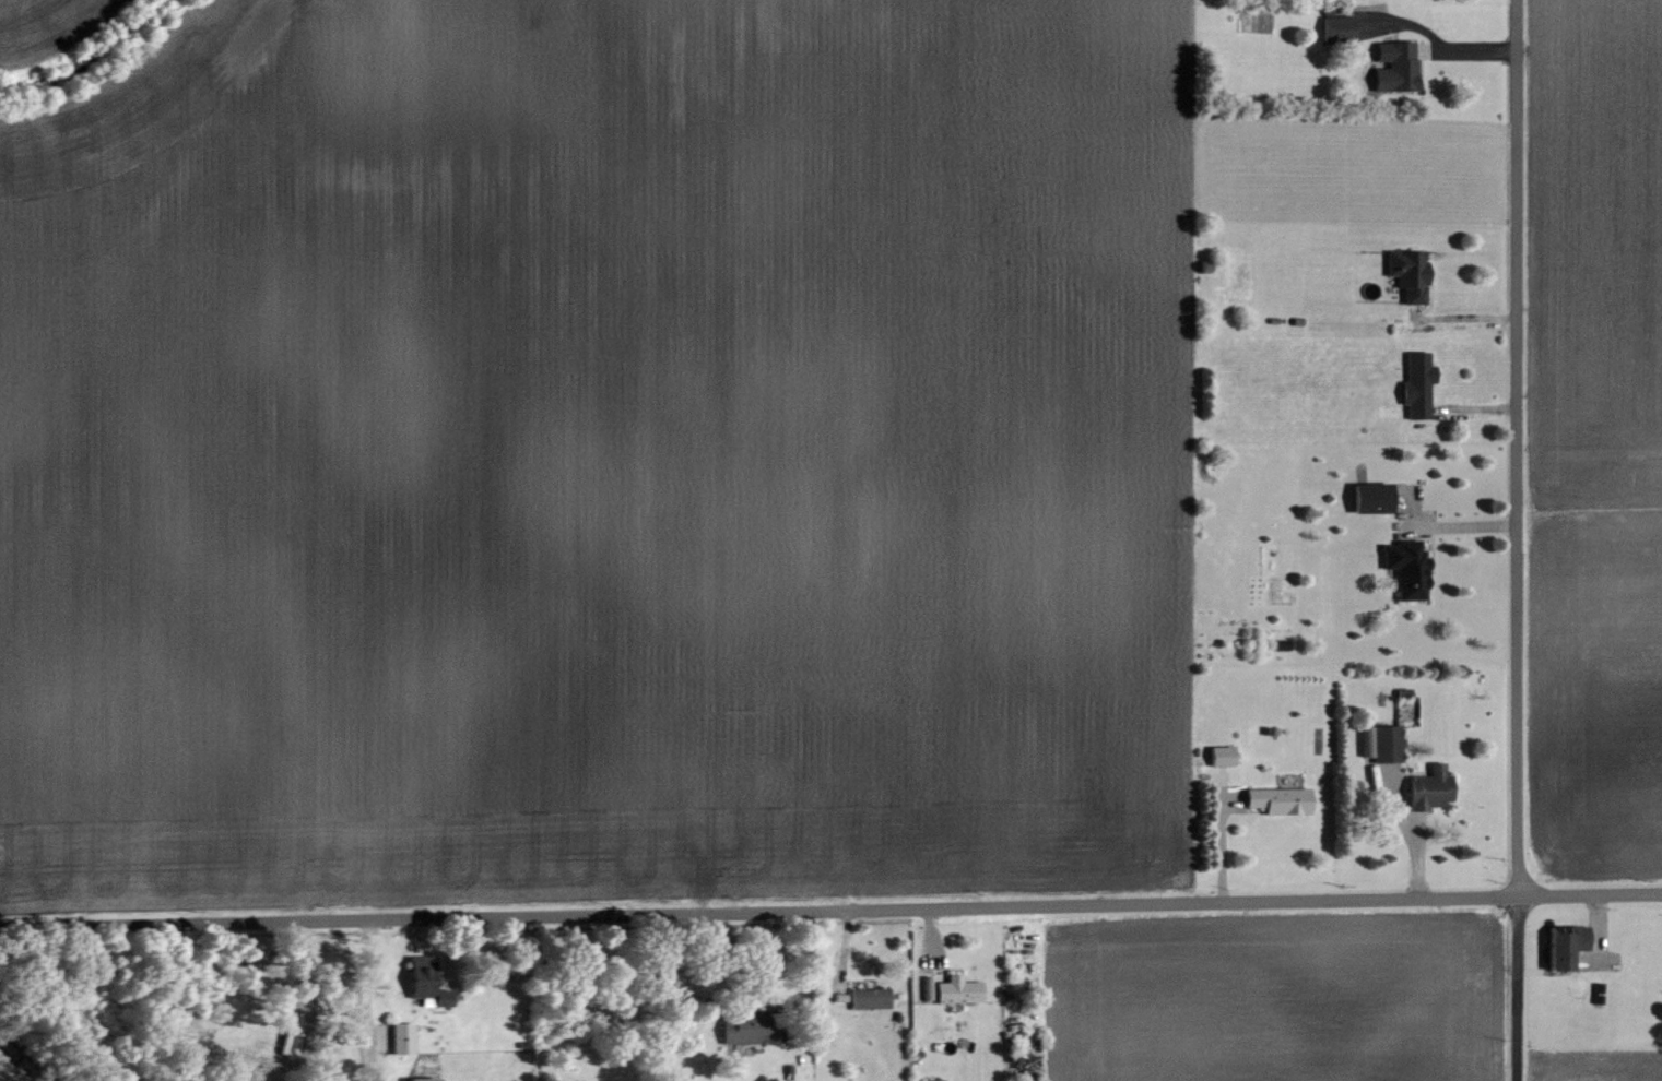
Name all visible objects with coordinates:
building: (1339, 26)
building: (1398, 66)
building: (1411, 273)
building: (1419, 384)
road: (1518, 449)
building: (1374, 497)
building: (1408, 568)
building: (1383, 743)
building: (1223, 756)
building: (1433, 788)
building: (1281, 800)
road: (1591, 895)
road: (761, 913)
building: (1567, 946)
building: (929, 988)
road: (1519, 989)
building: (959, 990)
building: (871, 998)
building: (749, 1027)
building: (403, 1038)
building: (426, 1079)
building: (934, 1080)

